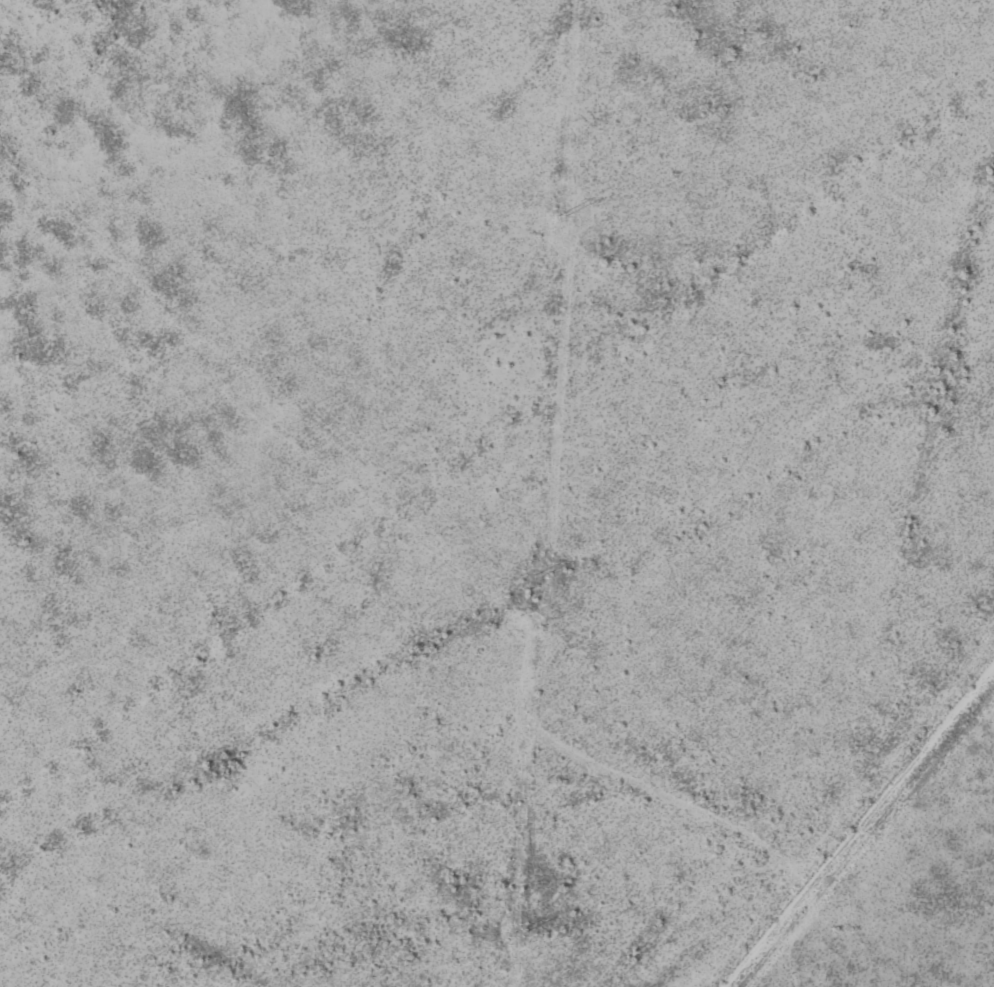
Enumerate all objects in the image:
power tower: (560, 217)
power tower: (538, 577)
road: (861, 831)
power tower: (517, 936)

